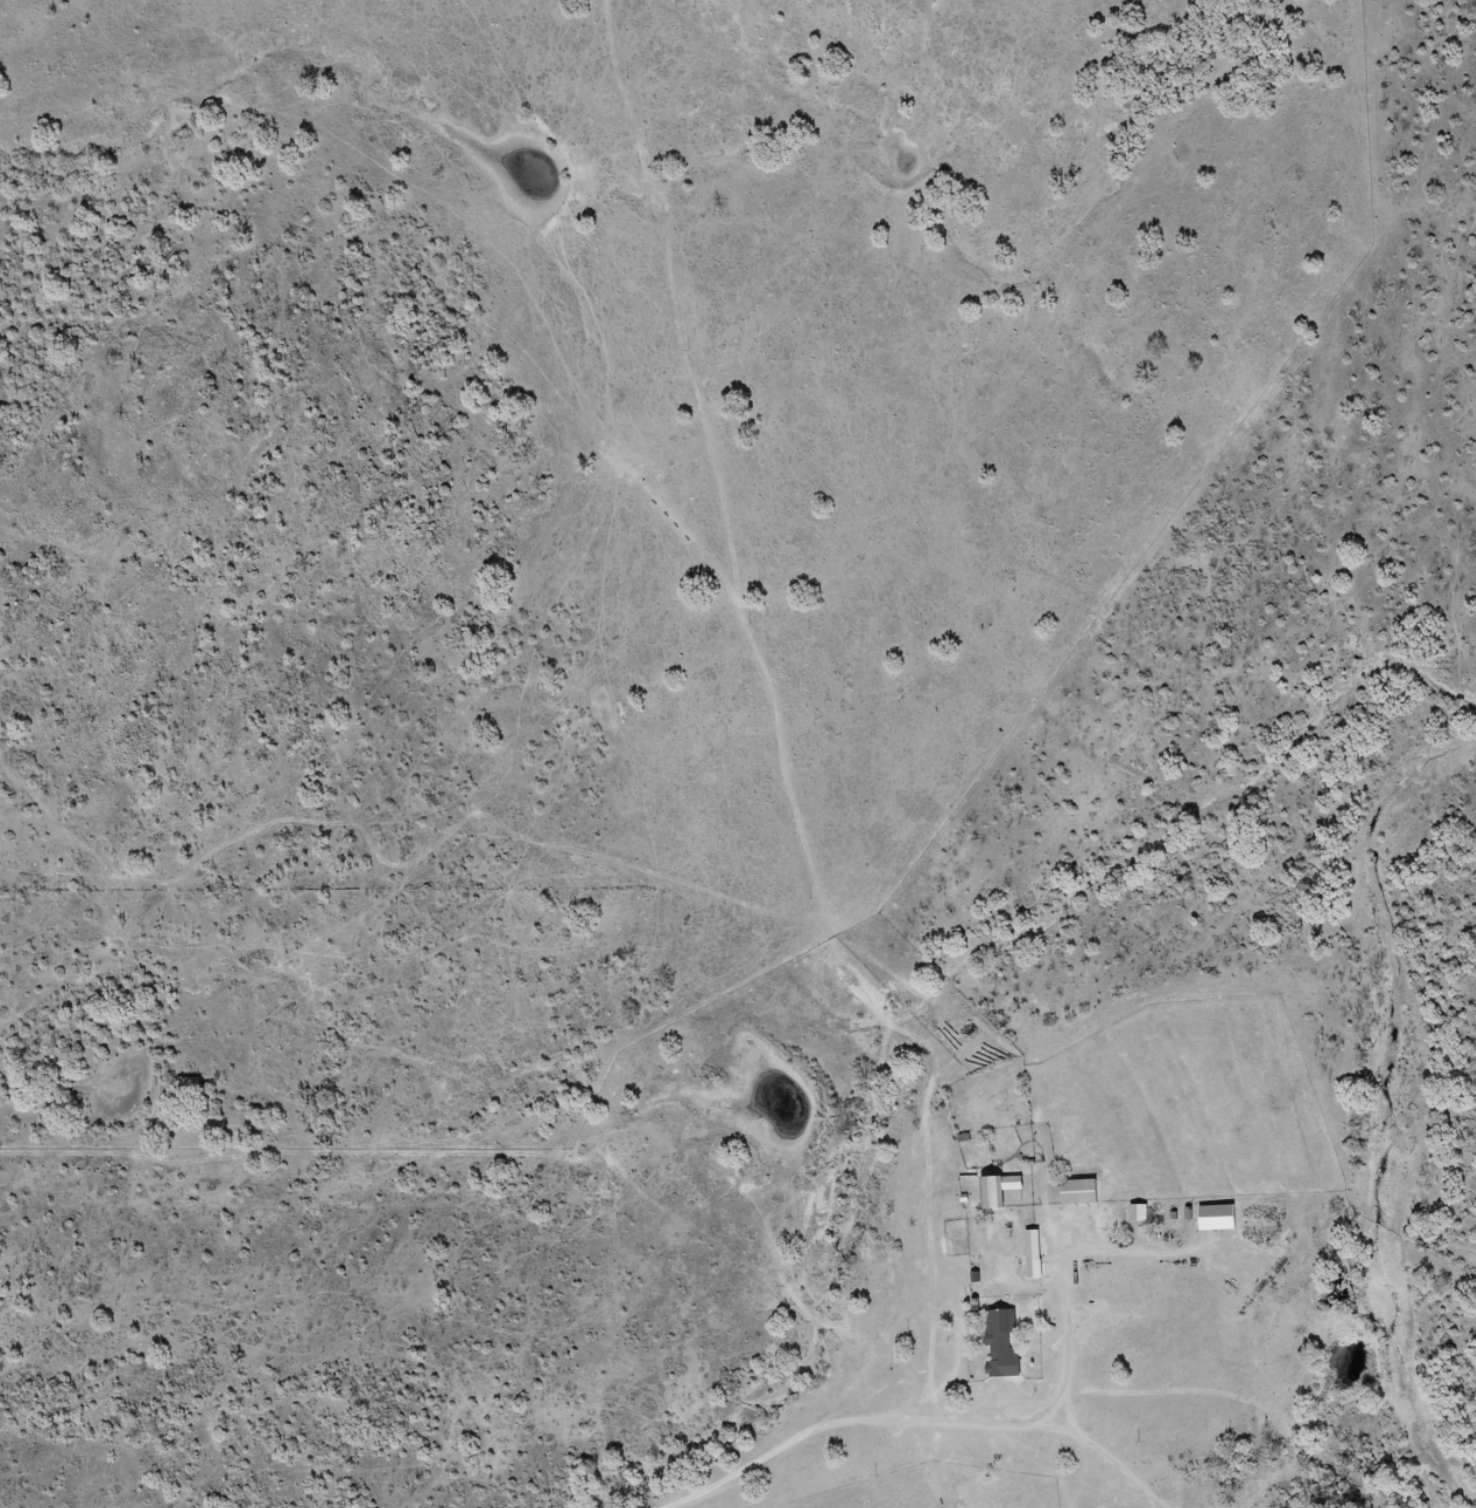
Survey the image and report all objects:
building: (1078, 1191)
building: (991, 1192)
building: (1138, 1211)
building: (1032, 1244)
building: (1001, 1343)
road: (931, 1457)

